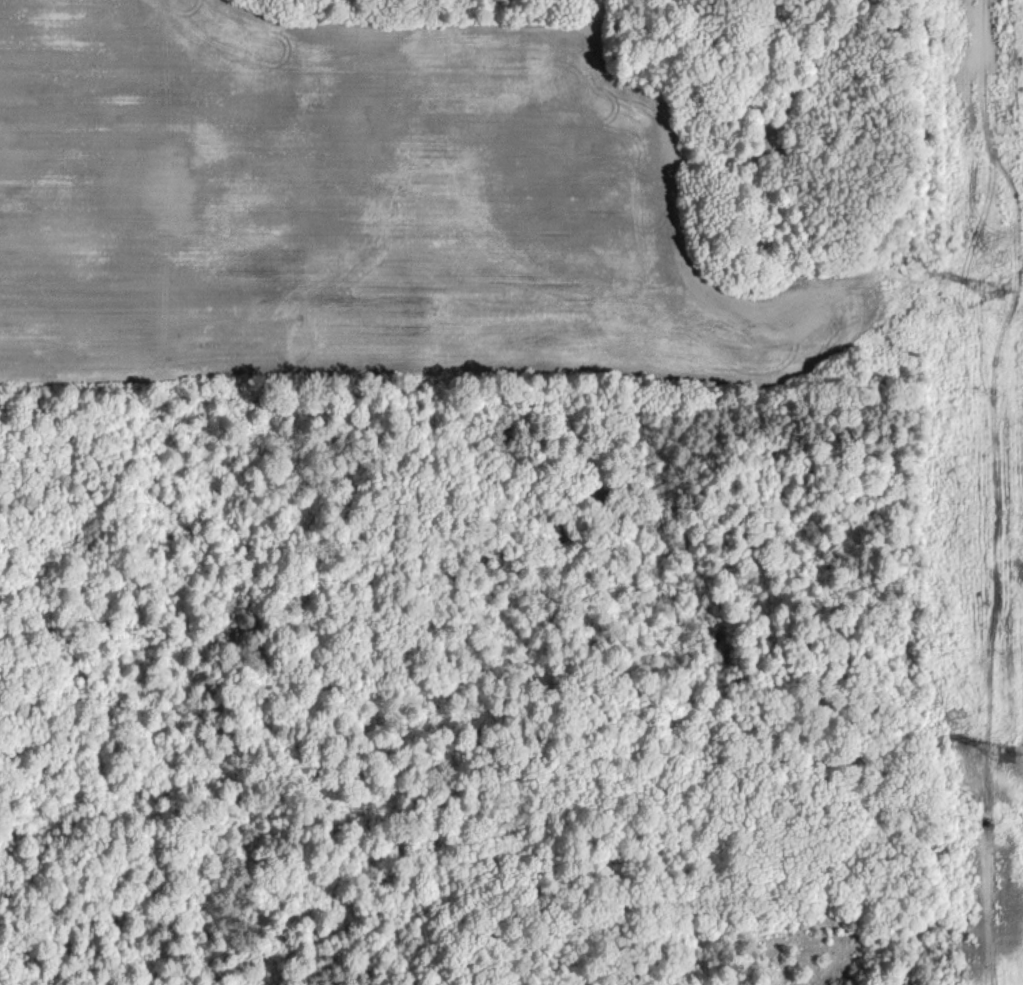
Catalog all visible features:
power tower: (1000, 292)
power tower: (1007, 755)

